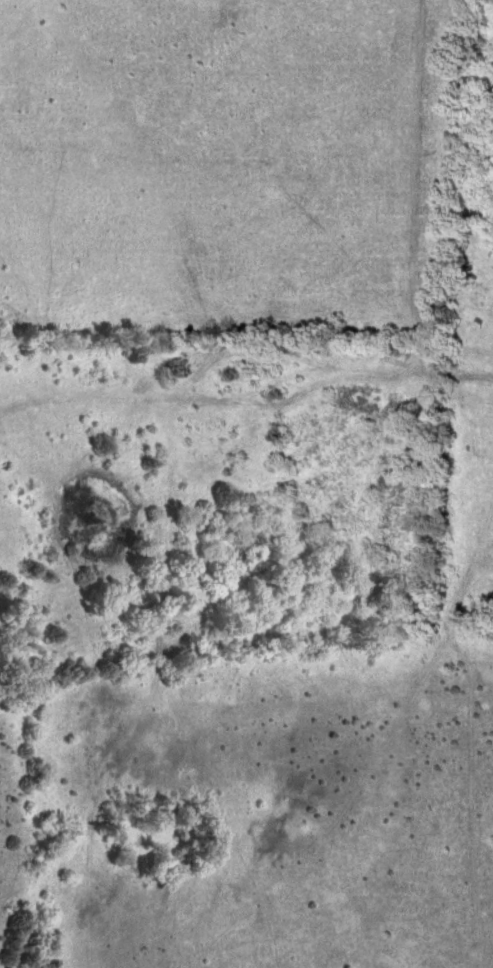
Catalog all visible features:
building: (183, 367)

